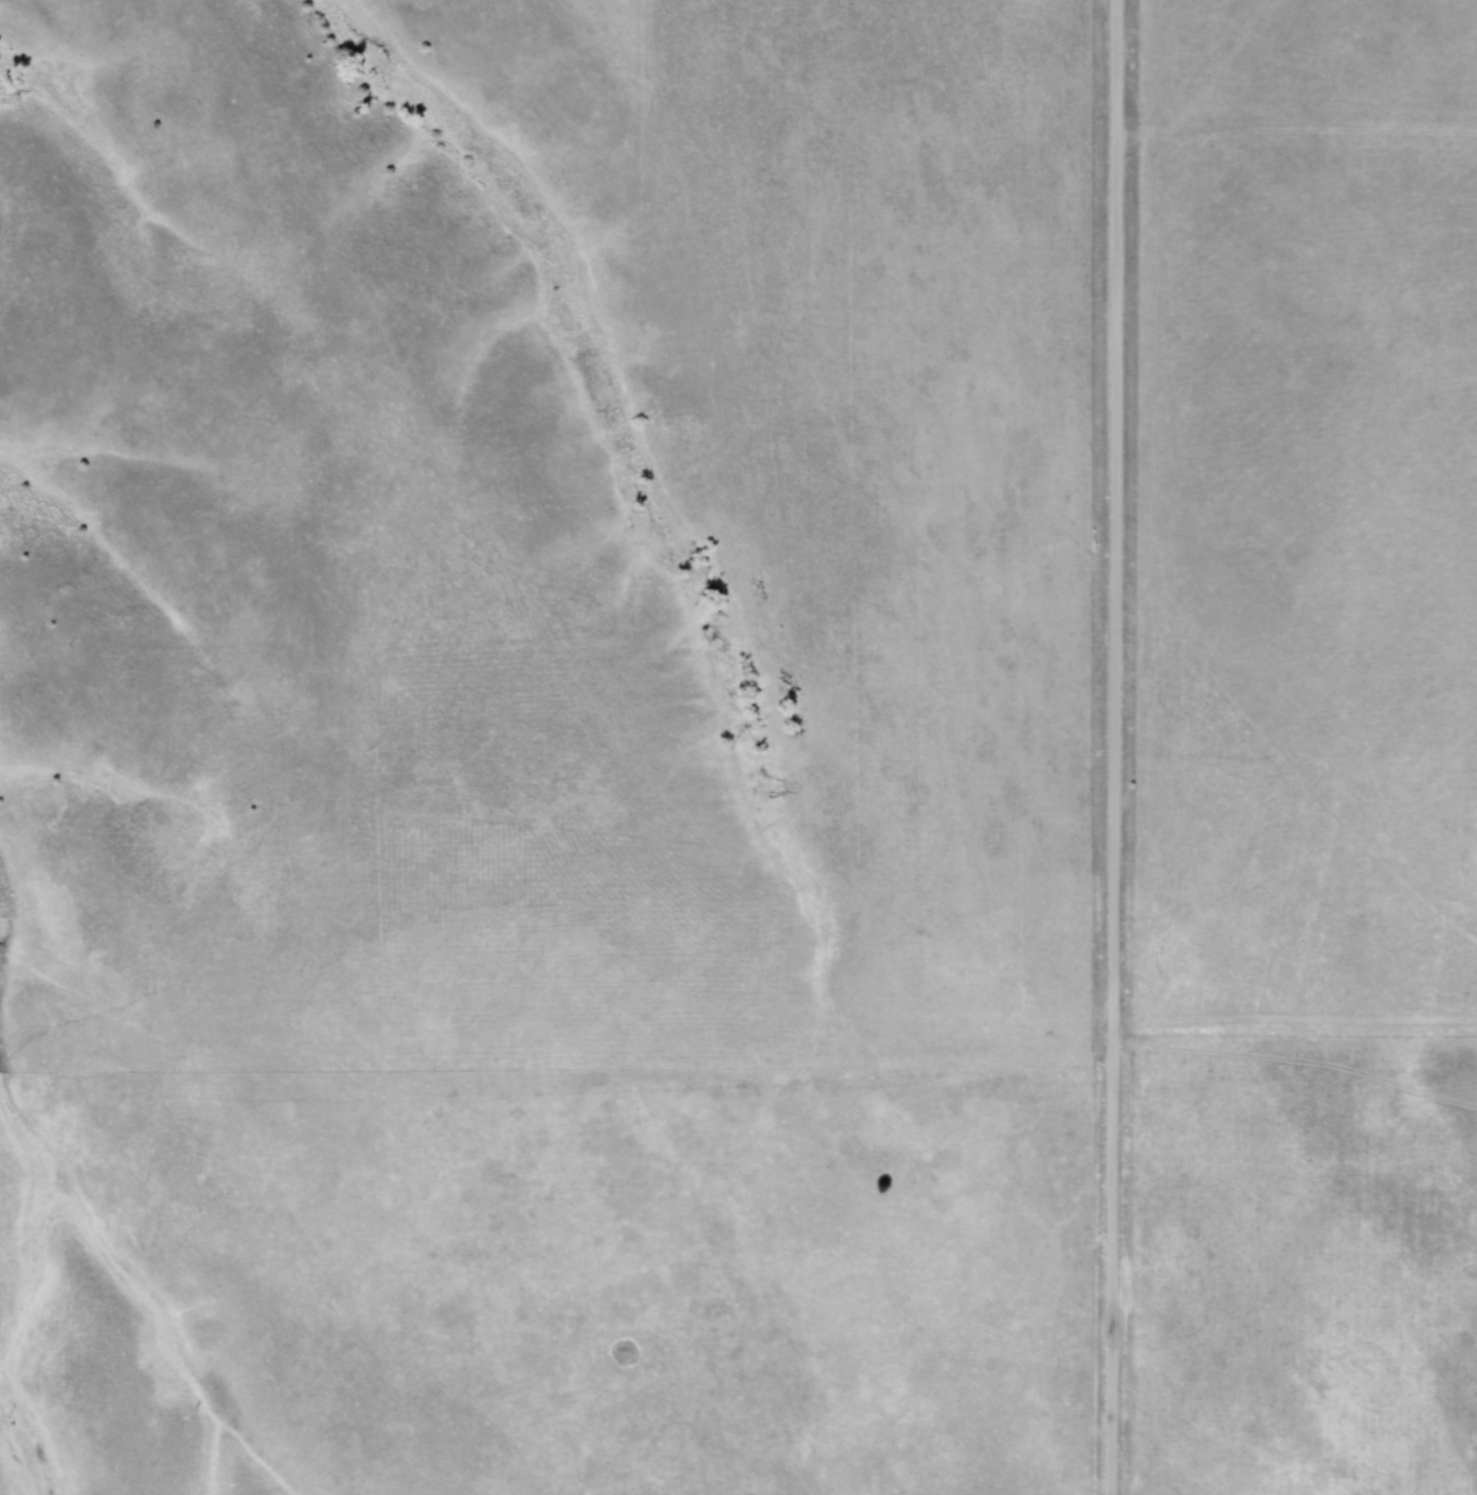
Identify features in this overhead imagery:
road: (1114, 747)

